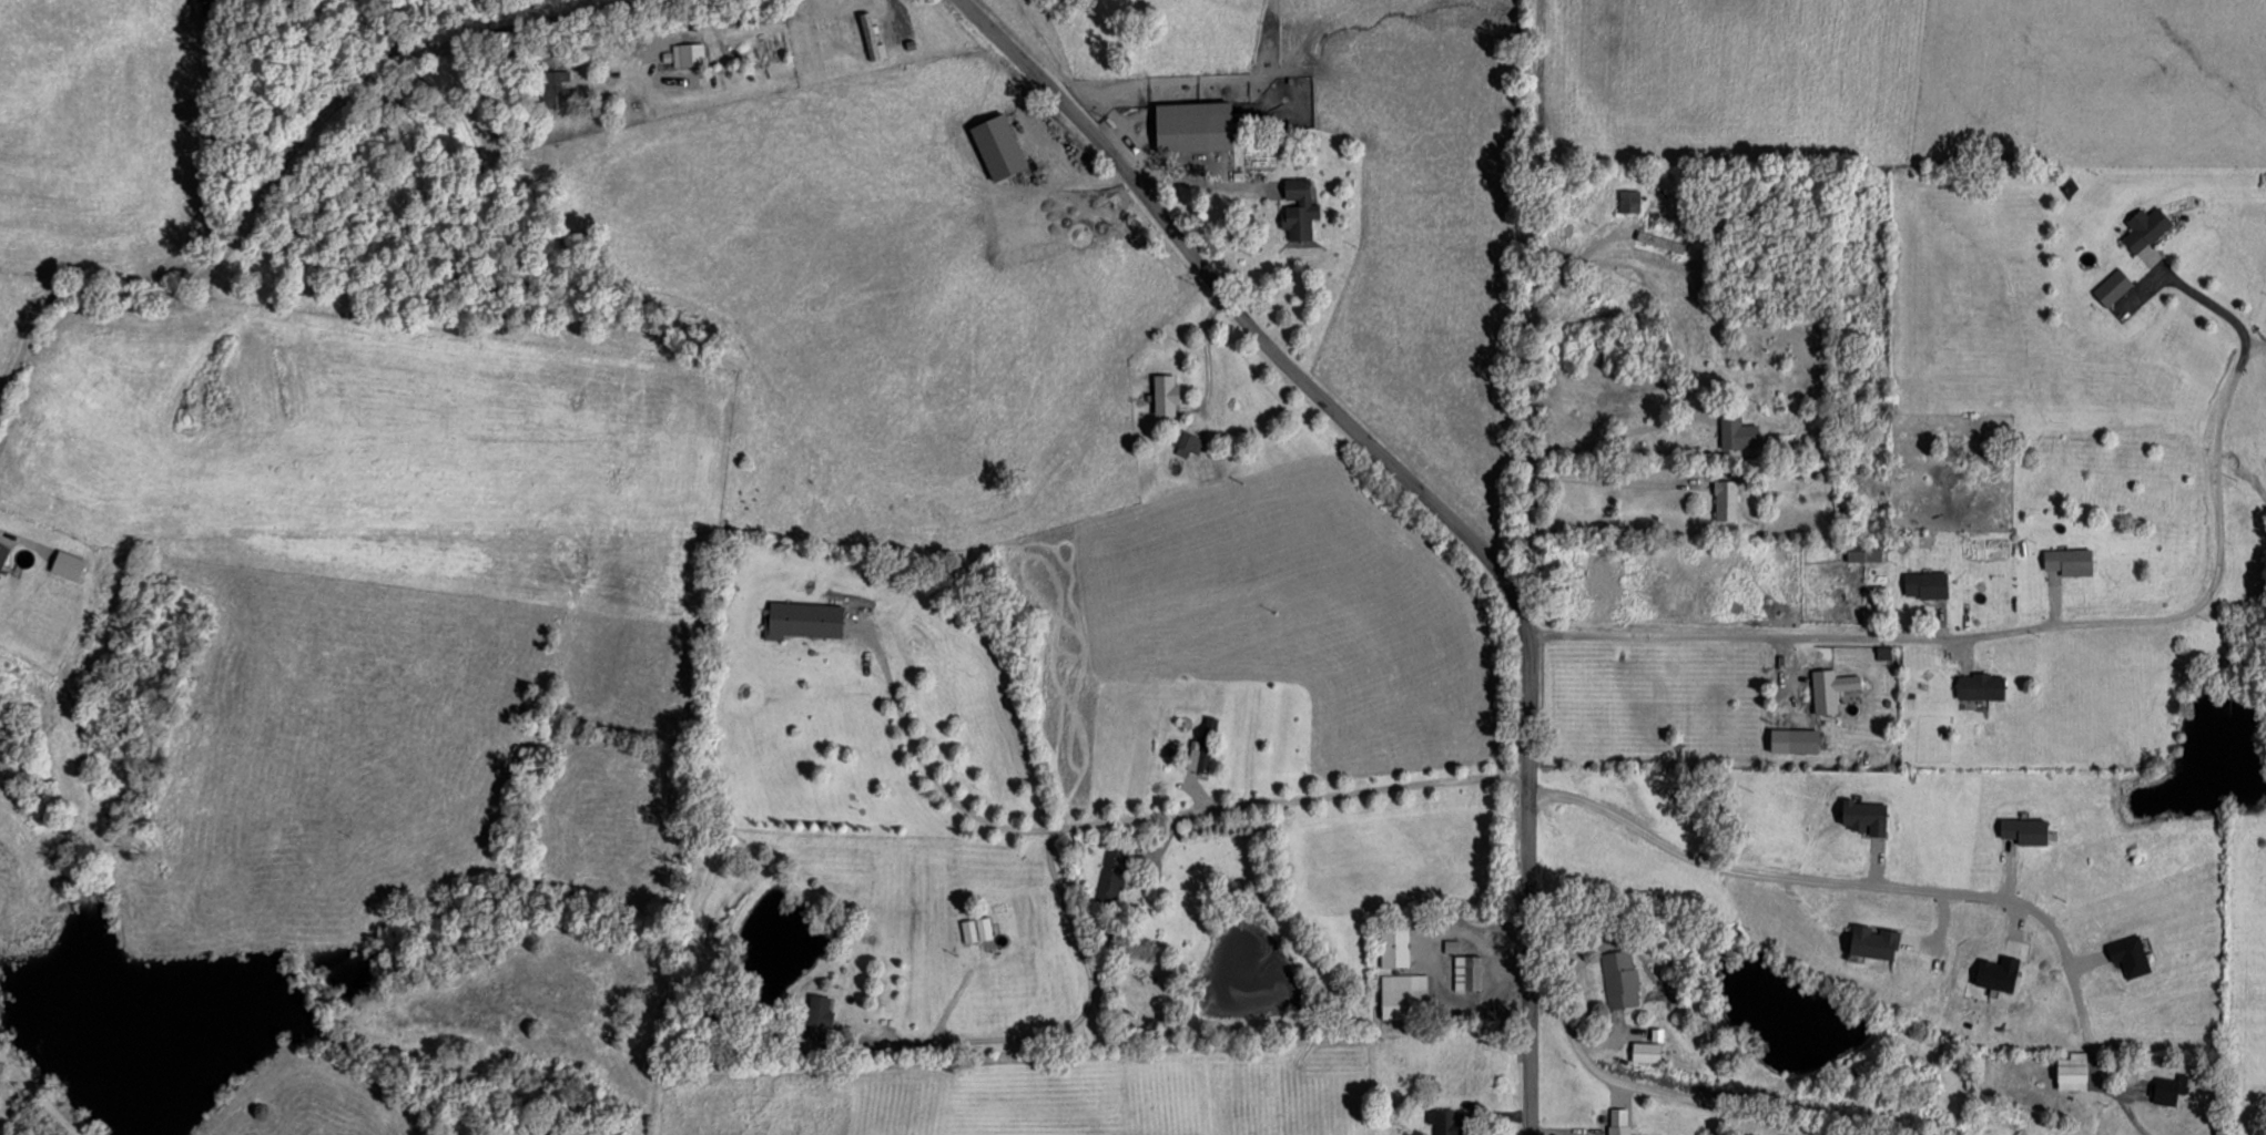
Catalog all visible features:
building: (871, 38)
building: (688, 54)
building: (551, 85)
building: (1191, 126)
road: (333, 190)
building: (1628, 202)
building: (1297, 208)
building: (2144, 229)
building: (2111, 288)
road: (2195, 293)
road: (1514, 316)
road: (1249, 318)
road: (2256, 348)
building: (1164, 395)
building: (1736, 433)
building: (1186, 441)
building: (1724, 501)
building: (2, 553)
building: (2067, 561)
building: (1924, 585)
building: (802, 621)
road: (1999, 633)
building: (1979, 685)
building: (1829, 689)
building: (1202, 747)
road: (1244, 805)
building: (1110, 872)
road: (1525, 882)
road: (1900, 887)
building: (975, 929)
building: (1466, 972)
building: (1399, 975)
building: (1618, 978)
building: (817, 1014)
building: (1645, 1051)
building: (2071, 1071)
building: (2168, 1088)
road: (1652, 1092)
building: (1442, 1121)
building: (1616, 1129)

